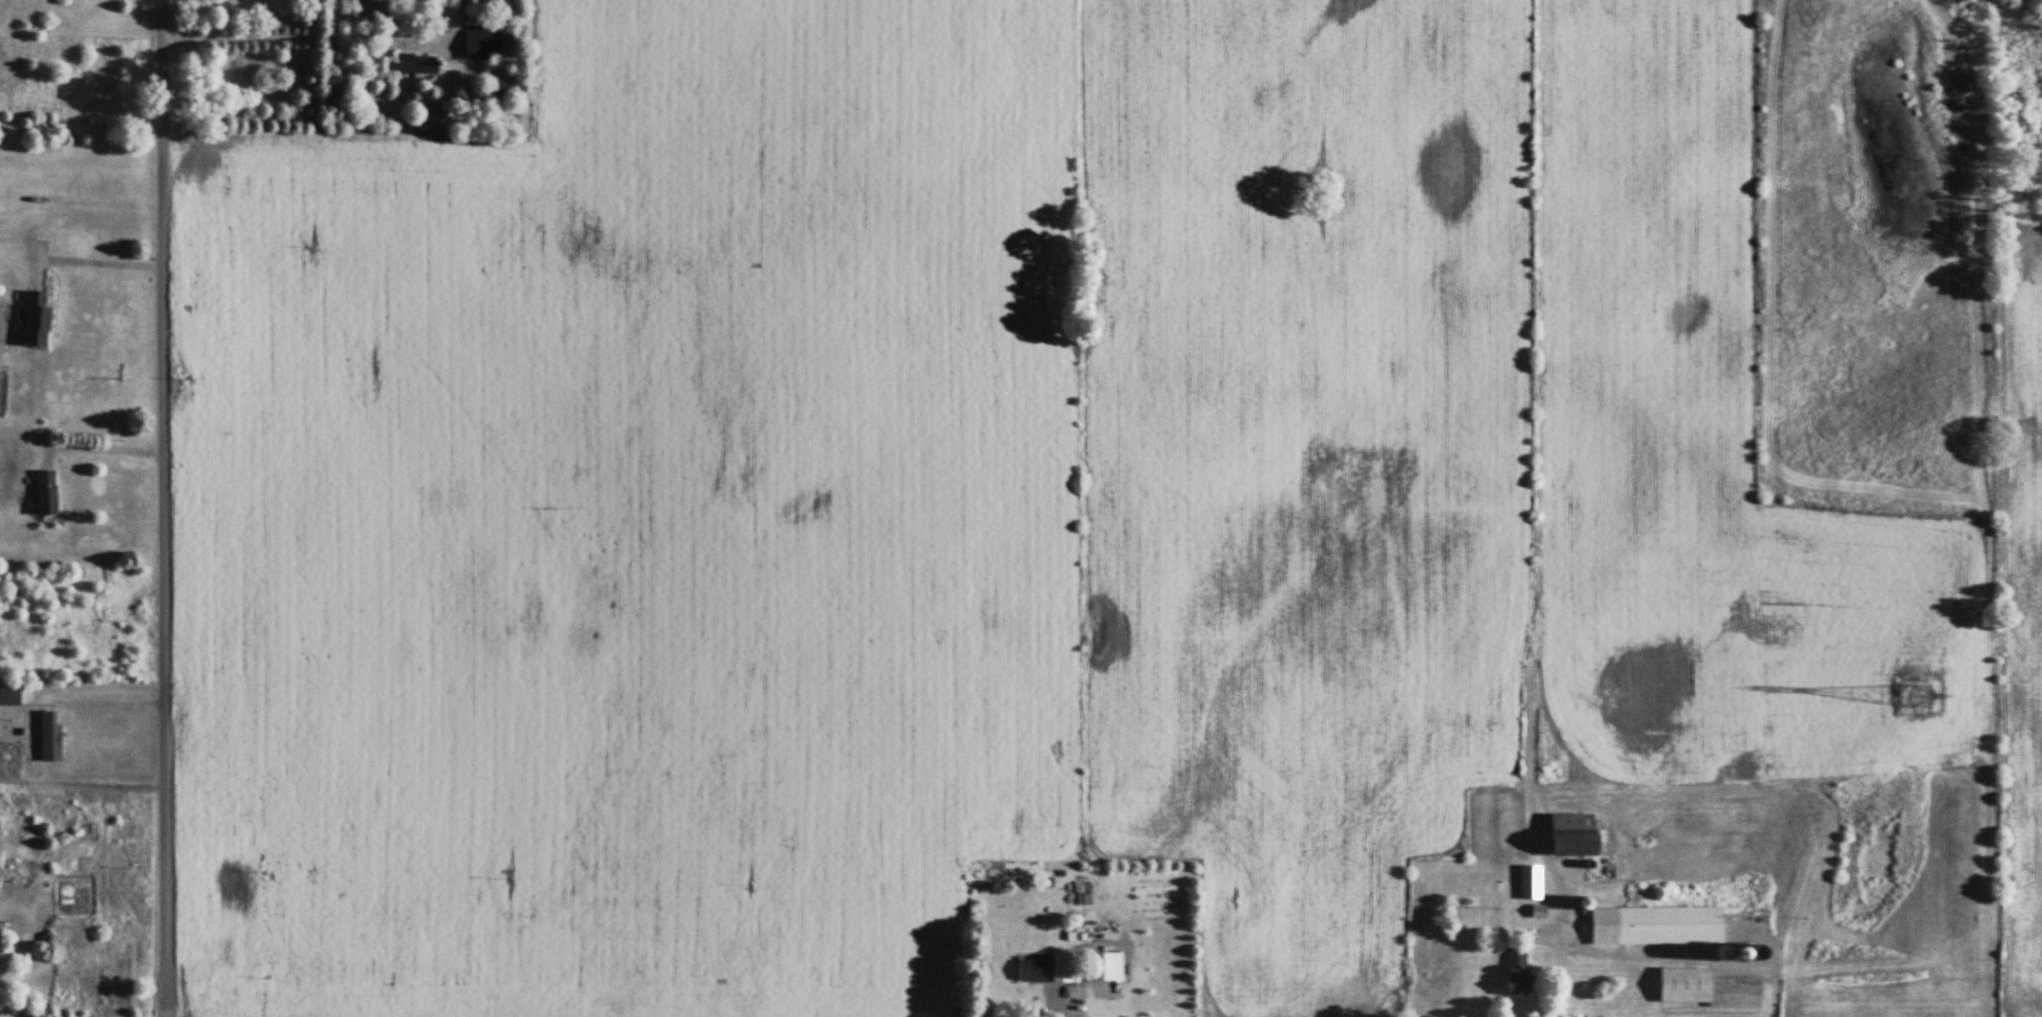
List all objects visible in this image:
road: (298, 38)
building: (478, 43)
building: (405, 67)
road: (110, 204)
road: (92, 263)
building: (31, 321)
road: (102, 451)
building: (42, 493)
road: (167, 508)
building: (7, 698)
power tower: (1913, 698)
building: (45, 738)
building: (1567, 836)
building: (1522, 884)
building: (1650, 926)
building: (1058, 968)
building: (1028, 972)
building: (1503, 972)
road: (1558, 974)
building: (1700, 990)

